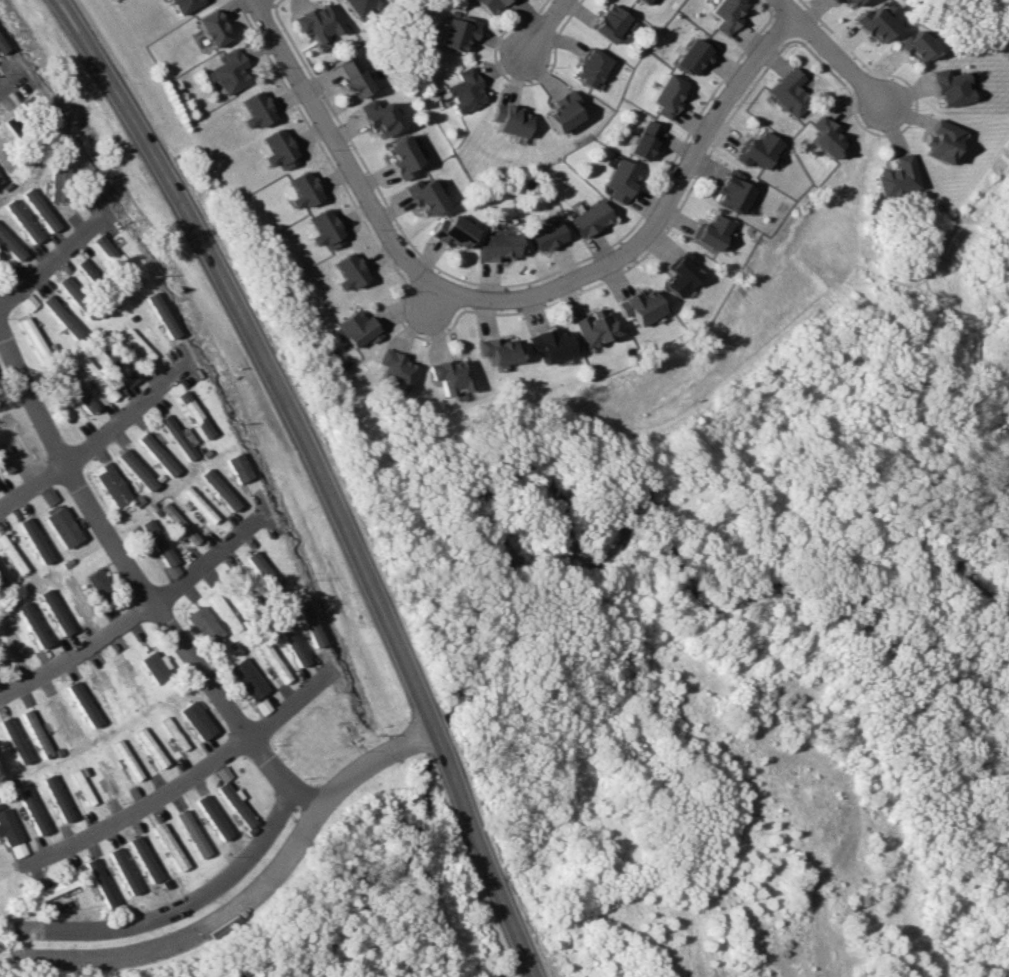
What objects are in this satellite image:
road: (252, 0)
building: (644, 1)
building: (831, 1)
building: (848, 2)
building: (183, 5)
building: (488, 5)
building: (359, 6)
road: (784, 6)
building: (727, 14)
building: (317, 22)
building: (608, 23)
building: (873, 23)
building: (211, 28)
building: (456, 30)
road: (541, 30)
building: (2, 46)
building: (914, 46)
building: (696, 54)
road: (839, 61)
building: (590, 67)
building: (227, 72)
building: (352, 77)
road: (11, 80)
building: (948, 87)
building: (463, 90)
building: (789, 92)
building: (669, 95)
building: (255, 109)
building: (561, 111)
building: (377, 117)
building: (509, 119)
building: (825, 136)
building: (644, 140)
building: (939, 140)
building: (278, 149)
road: (336, 149)
building: (758, 149)
building: (400, 156)
building: (895, 176)
building: (0, 180)
building: (622, 180)
building: (59, 184)
building: (301, 190)
building: (732, 191)
building: (423, 196)
building: (39, 209)
building: (589, 218)
road: (654, 219)
building: (22, 220)
building: (324, 229)
building: (453, 231)
building: (712, 231)
building: (547, 233)
building: (10, 245)
building: (498, 246)
building: (105, 247)
road: (55, 255)
building: (87, 269)
building: (348, 271)
building: (679, 274)
road: (431, 303)
building: (639, 306)
building: (162, 315)
building: (61, 316)
building: (594, 327)
building: (356, 329)
building: (31, 336)
building: (137, 344)
building: (550, 344)
building: (498, 350)
building: (115, 363)
building: (395, 370)
building: (451, 375)
building: (94, 378)
building: (74, 391)
building: (192, 414)
road: (98, 433)
building: (16, 436)
building: (174, 436)
building: (154, 454)
building: (237, 467)
building: (133, 469)
road: (326, 471)
building: (109, 484)
building: (217, 489)
building: (195, 504)
building: (177, 523)
building: (62, 527)
building: (34, 540)
building: (156, 542)
road: (139, 577)
building: (2, 580)
building: (99, 585)
building: (79, 595)
building: (222, 610)
building: (55, 611)
road: (144, 617)
building: (307, 622)
building: (33, 624)
building: (205, 627)
building: (14, 635)
building: (290, 643)
building: (271, 660)
building: (155, 666)
building: (246, 678)
building: (130, 683)
building: (107, 696)
building: (83, 703)
building: (61, 721)
building: (37, 733)
building: (14, 739)
building: (149, 747)
road: (190, 775)
building: (0, 776)
building: (108, 778)
building: (81, 786)
building: (56, 797)
building: (234, 804)
building: (31, 811)
building: (211, 816)
building: (7, 827)
building: (191, 833)
building: (168, 846)
building: (142, 858)
building: (122, 870)
building: (99, 882)
building: (48, 889)
road: (243, 898)
road: (183, 904)

